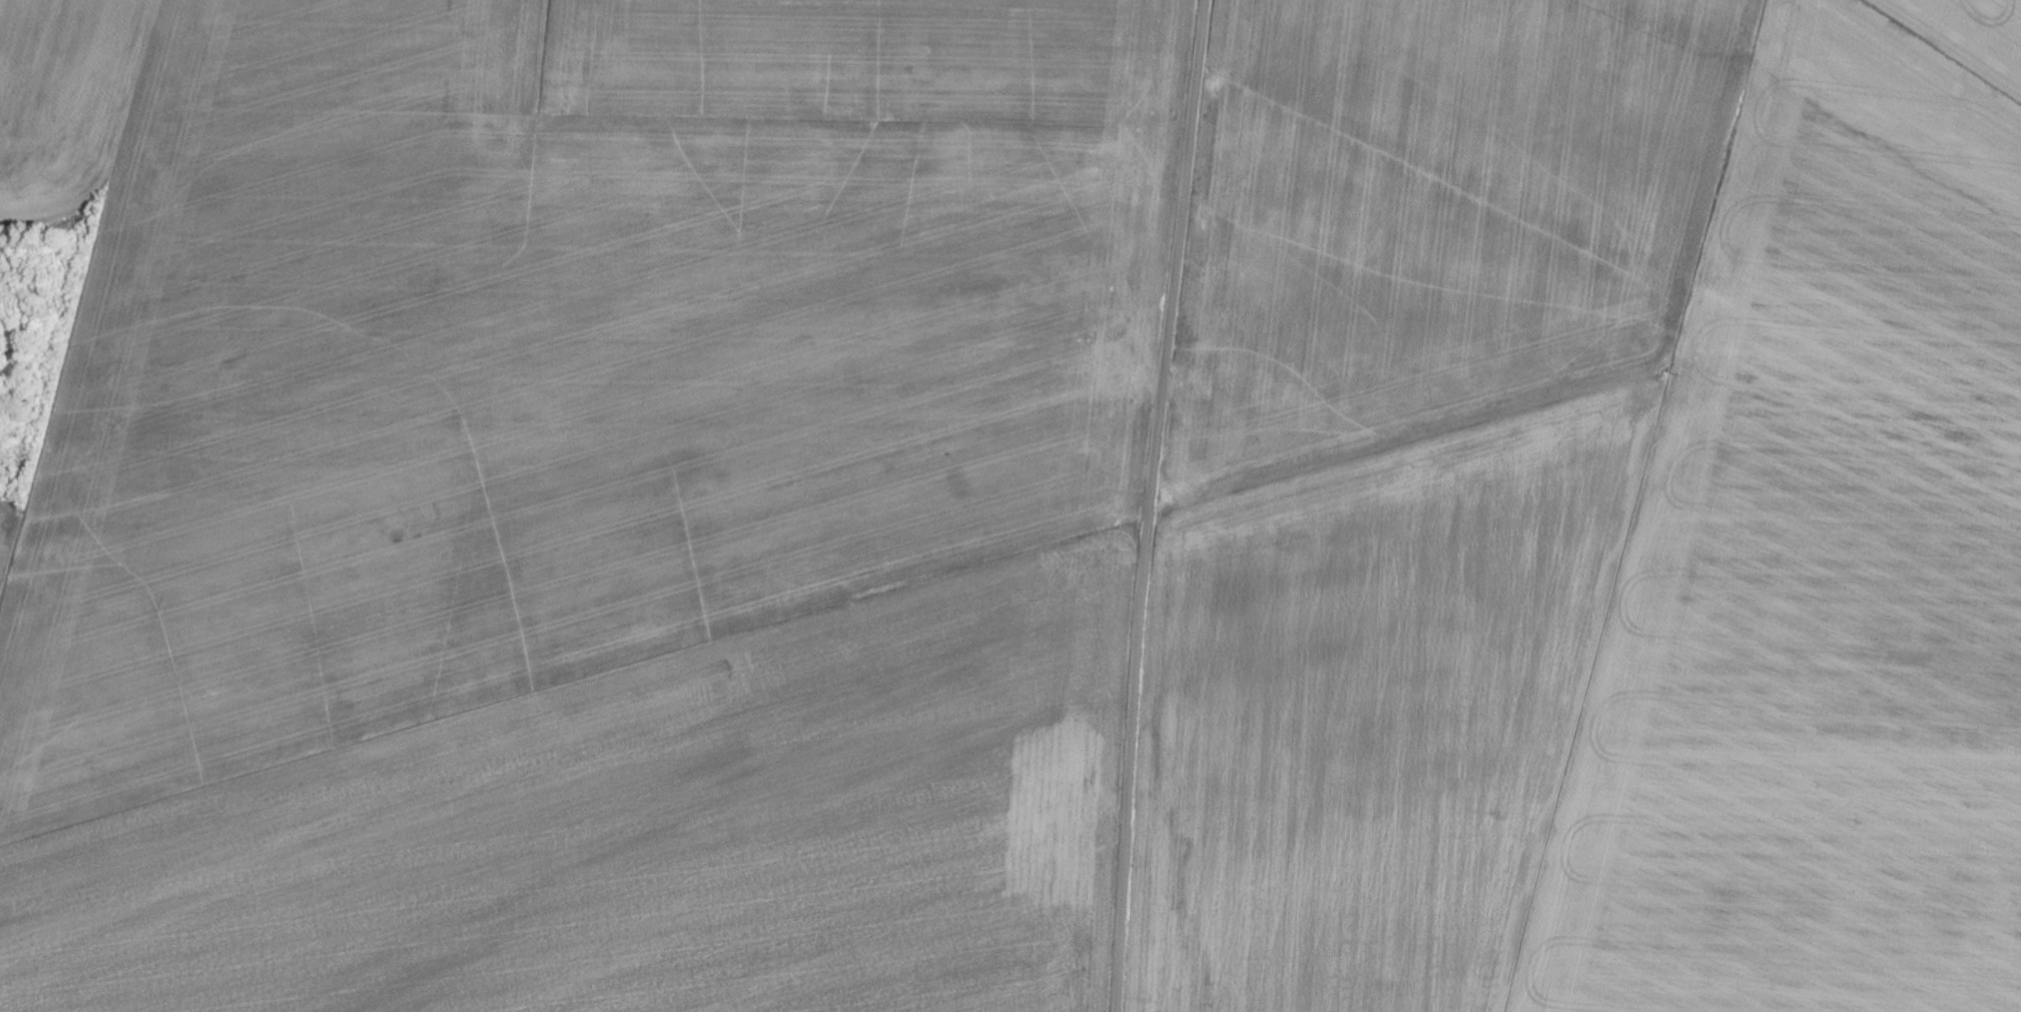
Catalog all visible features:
road: (1150, 505)

